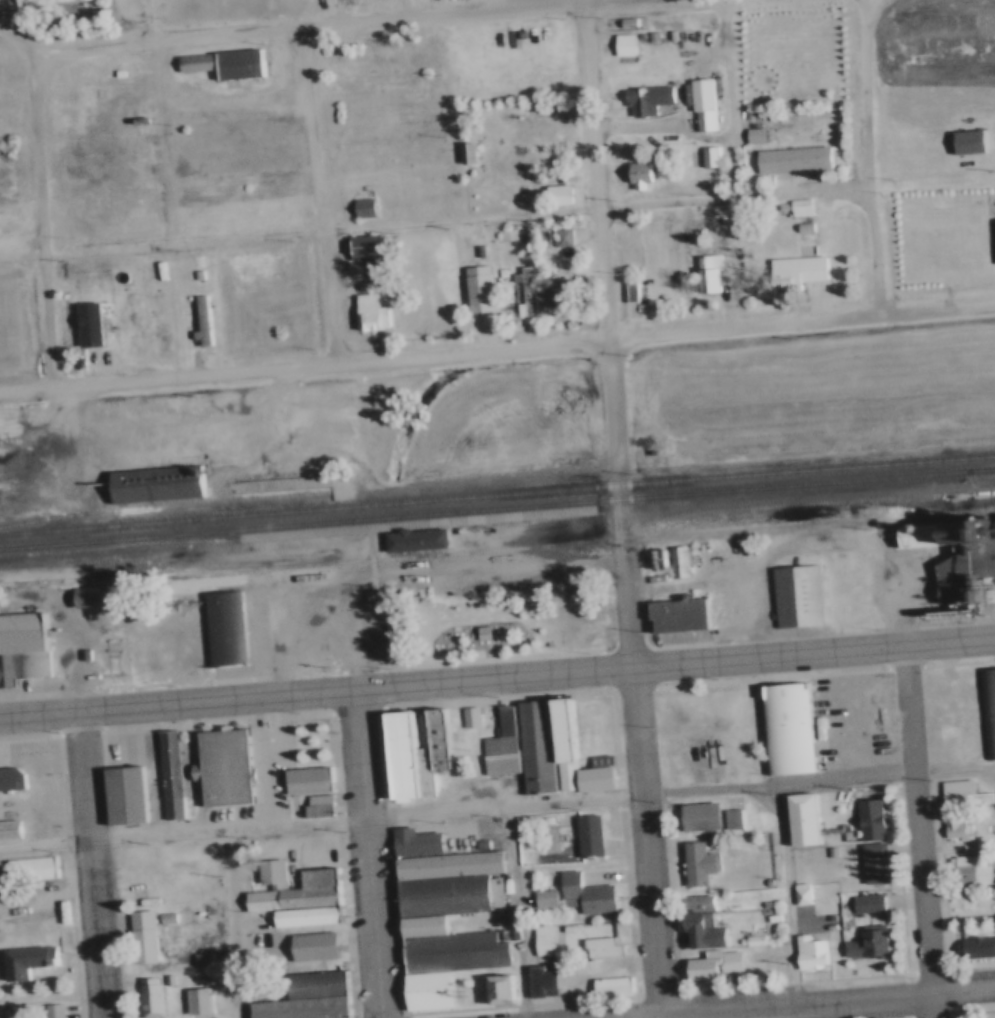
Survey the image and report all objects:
road: (155, 19)
road: (342, 20)
building: (622, 21)
building: (665, 34)
building: (647, 35)
building: (618, 44)
building: (221, 64)
building: (114, 72)
building: (641, 97)
road: (732, 97)
building: (697, 103)
building: (138, 119)
building: (751, 136)
building: (965, 142)
building: (471, 152)
building: (463, 154)
building: (712, 155)
building: (704, 157)
road: (873, 157)
building: (789, 160)
building: (634, 174)
road: (321, 193)
building: (554, 194)
building: (5, 198)
building: (358, 206)
building: (796, 207)
road: (48, 218)
road: (436, 220)
building: (799, 226)
building: (557, 236)
building: (566, 236)
building: (363, 251)
building: (474, 253)
building: (566, 255)
building: (496, 270)
building: (792, 270)
building: (193, 274)
building: (704, 275)
building: (474, 288)
building: (634, 289)
building: (530, 290)
building: (626, 291)
building: (520, 293)
building: (556, 298)
building: (365, 313)
building: (138, 317)
building: (148, 317)
building: (197, 322)
building: (83, 324)
road: (614, 336)
road: (497, 347)
building: (647, 452)
building: (152, 483)
railway: (497, 495)
railway: (341, 496)
railway: (160, 505)
railway: (497, 506)
railway: (586, 512)
building: (994, 527)
silo: (994, 527)
building: (964, 533)
building: (918, 536)
building: (410, 539)
railway: (497, 545)
building: (650, 560)
building: (670, 561)
building: (960, 572)
building: (791, 595)
building: (83, 597)
building: (512, 603)
building: (985, 608)
building: (675, 617)
park: (491, 622)
building: (221, 631)
building: (477, 631)
building: (388, 632)
building: (485, 632)
building: (20, 647)
road: (676, 665)
road: (178, 700)
building: (985, 706)
building: (464, 716)
building: (473, 716)
building: (785, 731)
building: (436, 735)
building: (498, 742)
building: (558, 745)
building: (531, 747)
building: (417, 753)
building: (395, 755)
building: (165, 765)
building: (219, 767)
road: (955, 768)
building: (594, 771)
building: (10, 779)
building: (302, 780)
building: (952, 793)
road: (672, 794)
building: (121, 796)
building: (313, 805)
building: (695, 817)
building: (729, 819)
building: (800, 821)
building: (866, 821)
building: (7, 828)
building: (952, 829)
road: (920, 833)
building: (584, 835)
building: (410, 841)
road: (651, 842)
building: (828, 852)
road: (369, 853)
road: (230, 854)
road: (91, 863)
building: (869, 863)
building: (443, 864)
building: (693, 864)
building: (27, 867)
building: (969, 871)
building: (266, 873)
building: (314, 878)
building: (763, 881)
building: (579, 893)
building: (797, 893)
building: (443, 895)
building: (539, 897)
building: (288, 899)
building: (694, 902)
building: (761, 902)
building: (863, 903)
road: (520, 912)
building: (161, 916)
building: (302, 916)
building: (419, 926)
building: (561, 927)
building: (700, 931)
building: (138, 936)
building: (539, 939)
building: (748, 939)
building: (309, 945)
building: (865, 945)
building: (595, 947)
building: (976, 949)
building: (447, 952)
building: (805, 952)
building: (23, 962)
building: (708, 964)
building: (162, 978)
building: (537, 982)
building: (313, 984)
building: (606, 985)
building: (496, 989)
building: (423, 990)
building: (145, 998)
building: (193, 1000)
road: (805, 1002)
building: (299, 1008)
building: (46, 1010)

